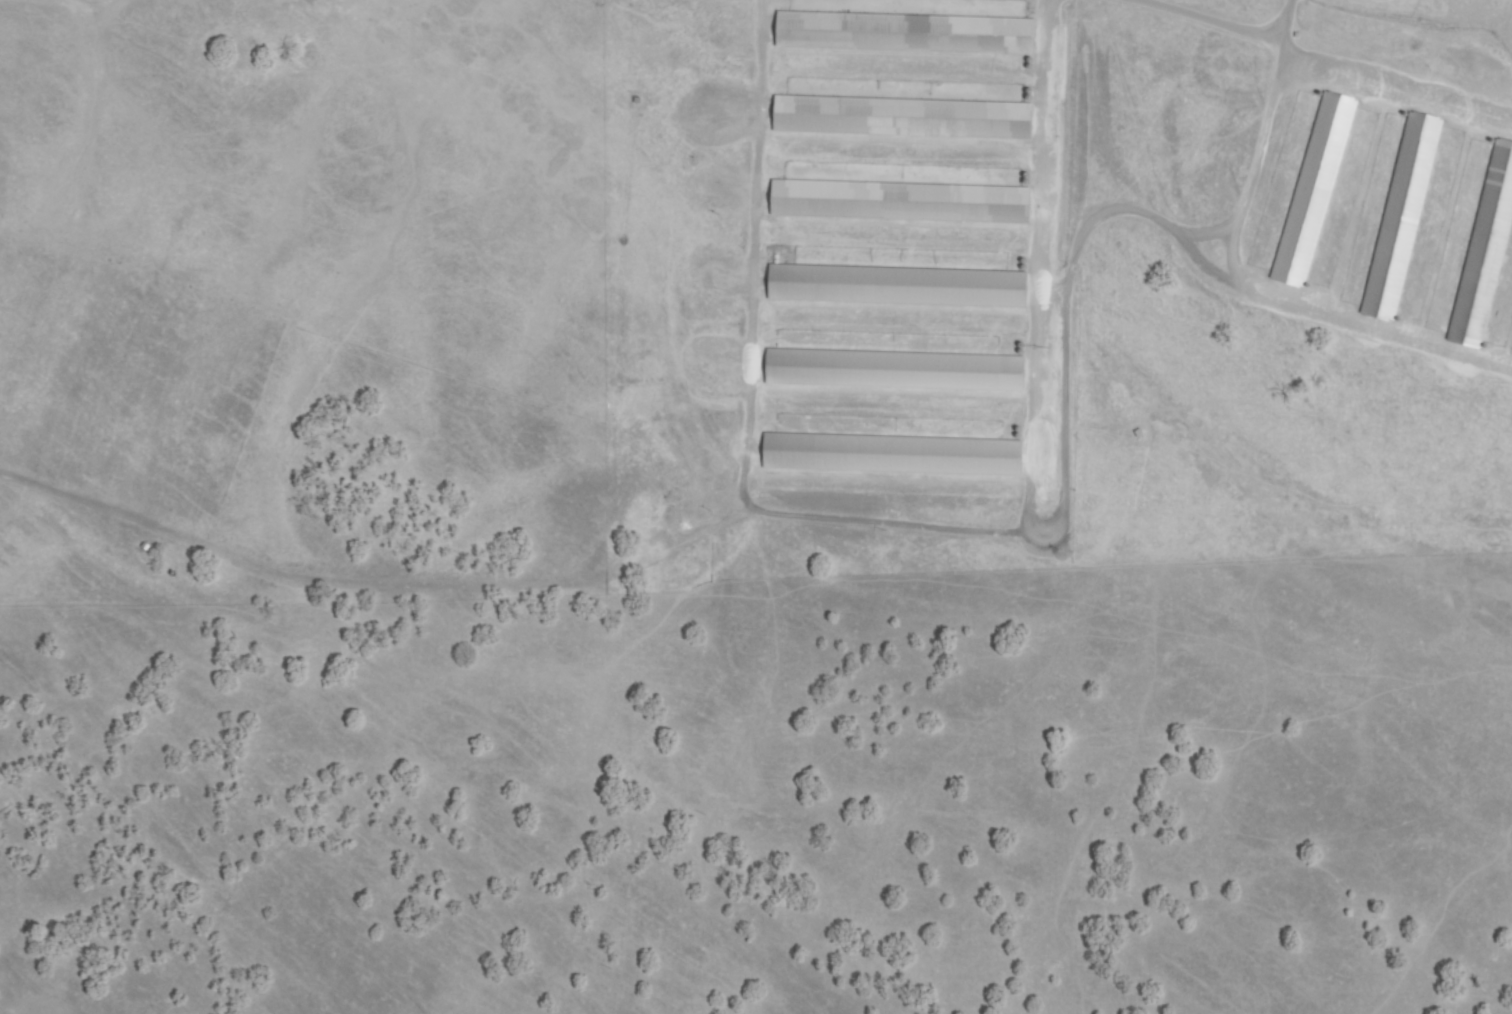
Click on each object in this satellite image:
building: (906, 33)
building: (1298, 35)
building: (903, 117)
building: (1314, 189)
building: (900, 202)
building: (1402, 216)
building: (1485, 251)
building: (898, 286)
building: (895, 370)
building: (893, 454)
road: (901, 521)

